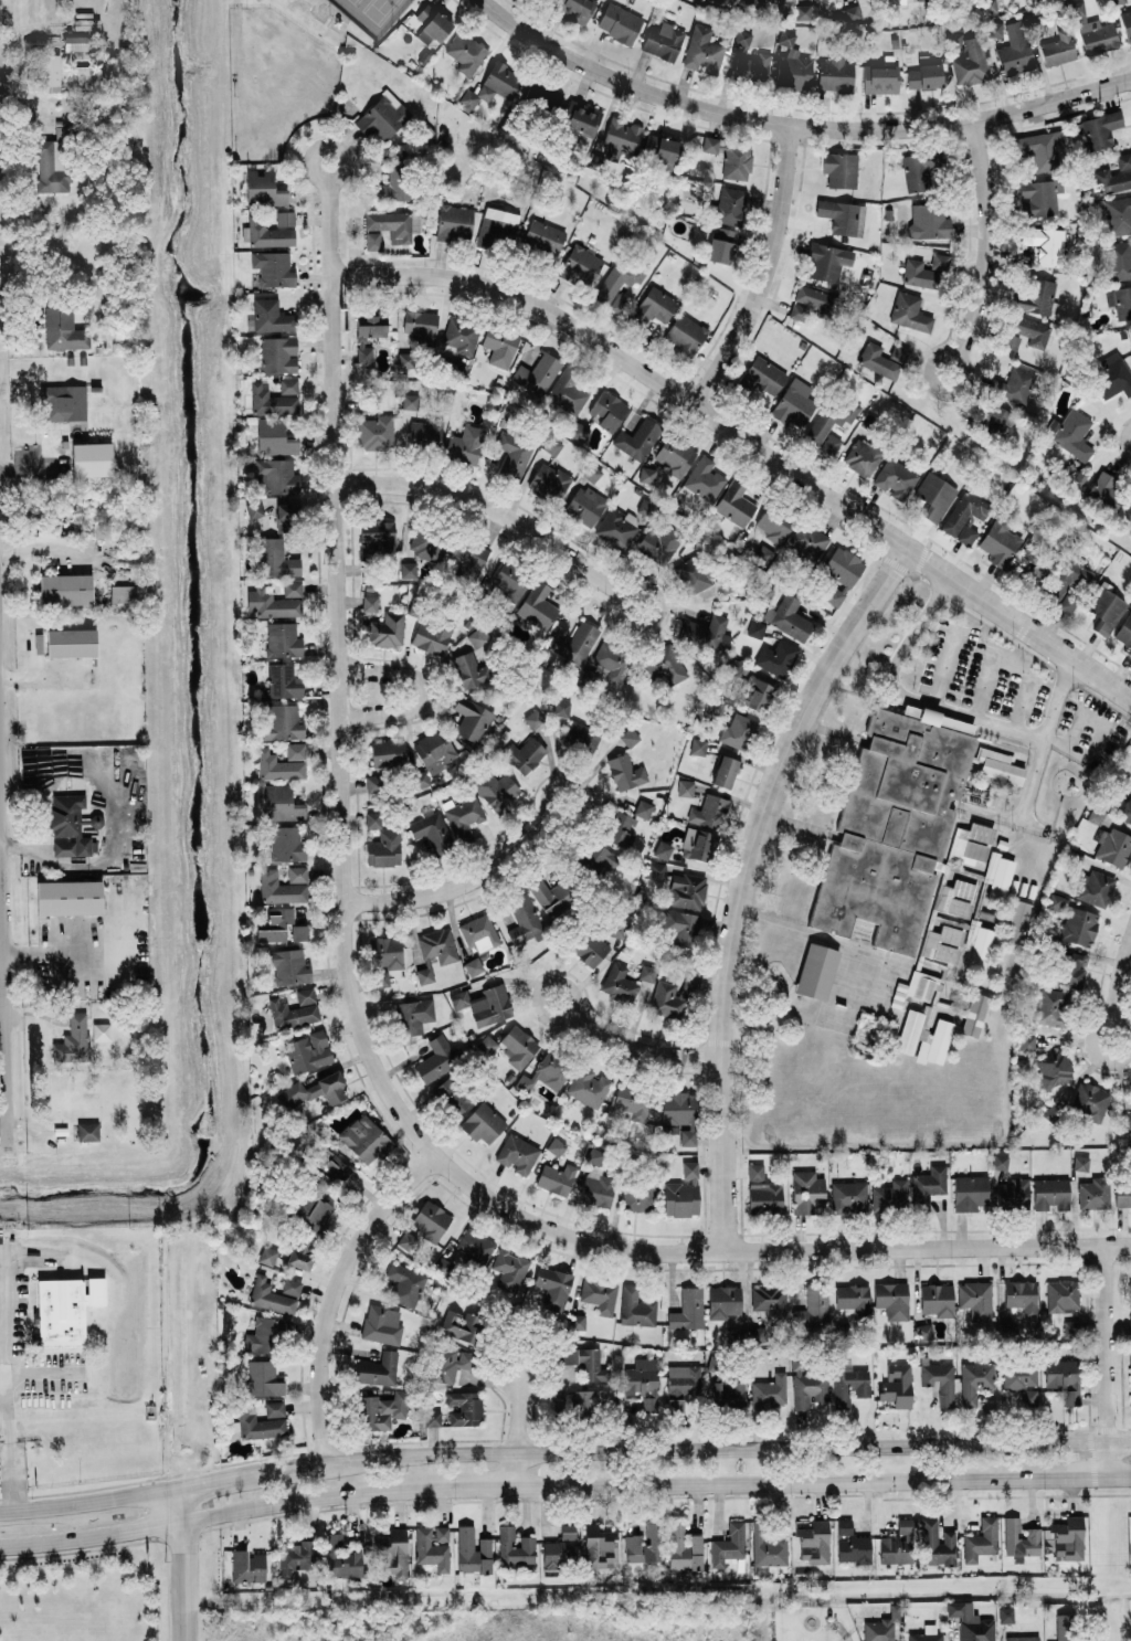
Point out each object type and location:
building: (1032, 0)
building: (1117, 0)
building: (755, 4)
building: (987, 4)
building: (573, 9)
building: (802, 10)
park: (371, 13)
building: (854, 15)
building: (1033, 21)
building: (617, 22)
building: (1125, 23)
building: (431, 24)
building: (265, 25)
building: (741, 36)
building: (1097, 36)
building: (660, 41)
building: (73, 42)
building: (1056, 49)
building: (700, 51)
building: (465, 52)
building: (1013, 57)
building: (123, 59)
building: (267, 59)
building: (970, 63)
building: (750, 67)
building: (47, 70)
road: (239, 70)
building: (792, 72)
building: (834, 75)
building: (921, 75)
building: (501, 78)
building: (878, 80)
building: (541, 100)
building: (381, 116)
building: (579, 118)
road: (796, 126)
building: (1097, 130)
building: (621, 136)
building: (1037, 149)
building: (659, 151)
building: (734, 161)
building: (47, 167)
building: (919, 168)
building: (838, 169)
road: (317, 174)
building: (1112, 177)
building: (394, 182)
building: (263, 188)
building: (1038, 198)
building: (726, 205)
building: (1118, 214)
building: (841, 216)
building: (928, 221)
building: (453, 222)
building: (387, 226)
building: (497, 226)
building: (269, 229)
building: (542, 237)
building: (719, 245)
building: (1046, 245)
road: (986, 246)
building: (1118, 260)
building: (581, 262)
building: (823, 263)
building: (272, 268)
building: (926, 269)
road: (763, 273)
building: (621, 279)
building: (1033, 295)
building: (1119, 300)
building: (810, 301)
building: (651, 307)
building: (908, 311)
building: (269, 316)
building: (417, 322)
building: (61, 329)
building: (366, 331)
building: (459, 331)
building: (1023, 332)
building: (681, 335)
building: (498, 342)
building: (276, 353)
building: (405, 359)
building: (881, 359)
building: (536, 373)
building: (1109, 375)
building: (761, 377)
building: (1012, 382)
building: (565, 391)
building: (273, 396)
building: (409, 400)
building: (52, 402)
building: (364, 402)
building: (792, 406)
building: (605, 410)
building: (992, 421)
building: (831, 422)
building: (579, 430)
building: (373, 432)
building: (1070, 433)
building: (423, 434)
building: (272, 436)
building: (636, 438)
road: (746, 440)
road: (1129, 441)
building: (464, 444)
building: (551, 444)
building: (673, 454)
building: (511, 455)
building: (860, 456)
building: (91, 458)
building: (590, 468)
building: (646, 473)
building: (275, 475)
building: (894, 478)
building: (702, 479)
building: (547, 481)
building: (1106, 489)
building: (933, 495)
building: (733, 502)
building: (583, 505)
road: (488, 506)
building: (253, 507)
building: (286, 517)
building: (964, 517)
building: (773, 525)
building: (615, 526)
building: (377, 536)
building: (998, 540)
building: (425, 542)
building: (659, 542)
building: (805, 542)
building: (763, 550)
building: (467, 555)
building: (275, 557)
building: (408, 569)
building: (838, 572)
building: (701, 573)
building: (508, 581)
building: (1063, 583)
road: (633, 584)
building: (64, 587)
building: (290, 587)
building: (123, 592)
building: (269, 602)
building: (369, 602)
building: (1104, 610)
building: (786, 616)
building: (753, 627)
building: (385, 628)
building: (1124, 631)
building: (706, 632)
building: (432, 634)
building: (477, 635)
building: (282, 638)
building: (38, 642)
building: (71, 642)
building: (574, 642)
building: (776, 656)
road: (945, 664)
building: (609, 665)
building: (665, 666)
building: (471, 668)
road: (0, 673)
building: (284, 679)
road: (337, 679)
road: (984, 681)
road: (421, 691)
building: (757, 694)
road: (905, 695)
road: (1023, 703)
building: (561, 706)
building: (471, 718)
building: (533, 718)
building: (282, 721)
building: (738, 730)
building: (578, 735)
building: (628, 735)
road: (1043, 740)
building: (697, 744)
building: (294, 750)
building: (387, 752)
road: (1076, 752)
building: (430, 753)
building: (522, 753)
building: (997, 764)
building: (277, 765)
building: (725, 770)
building: (625, 771)
building: (373, 782)
building: (685, 786)
road: (1, 788)
building: (495, 788)
building: (281, 802)
road: (547, 803)
building: (372, 806)
building: (642, 807)
building: (1127, 809)
building: (709, 811)
building: (462, 815)
road: (1000, 817)
building: (372, 818)
building: (68, 825)
building: (431, 828)
building: (619, 828)
building: (890, 830)
building: (976, 839)
building: (284, 841)
building: (698, 843)
building: (1112, 845)
building: (383, 848)
building: (662, 848)
building: (600, 858)
building: (657, 869)
building: (296, 872)
building: (998, 875)
road: (742, 880)
road: (458, 885)
road: (4, 886)
building: (279, 887)
building: (1095, 887)
building: (686, 889)
building: (68, 896)
building: (553, 896)
building: (522, 918)
building: (1017, 920)
building: (275, 923)
building: (681, 925)
building: (617, 927)
building: (298, 931)
building: (478, 931)
building: (436, 943)
building: (944, 943)
building: (590, 947)
building: (980, 947)
road: (51, 950)
building: (384, 956)
building: (287, 965)
building: (473, 965)
building: (1069, 968)
building: (815, 970)
building: (424, 972)
building: (645, 972)
road: (1119, 977)
building: (690, 981)
building: (619, 982)
building: (921, 984)
building: (666, 998)
road: (573, 1001)
building: (484, 1003)
building: (1053, 1006)
building: (294, 1007)
building: (974, 1013)
building: (413, 1014)
building: (909, 1029)
building: (101, 1030)
building: (73, 1038)
road: (1090, 1038)
building: (1026, 1040)
building: (934, 1041)
building: (517, 1045)
road: (642, 1048)
building: (307, 1050)
building: (436, 1057)
building: (1053, 1067)
building: (545, 1072)
building: (588, 1084)
building: (314, 1089)
building: (451, 1094)
building: (1089, 1100)
building: (632, 1102)
building: (680, 1112)
building: (1050, 1112)
building: (1124, 1121)
building: (482, 1122)
building: (86, 1130)
building: (364, 1137)
building: (554, 1142)
building: (516, 1153)
building: (1000, 1161)
building: (1080, 1162)
building: (332, 1165)
building: (556, 1176)
building: (927, 1186)
building: (595, 1189)
building: (762, 1190)
building: (806, 1190)
building: (969, 1190)
building: (680, 1192)
building: (1050, 1192)
building: (1093, 1192)
building: (1013, 1193)
building: (889, 1194)
building: (641, 1195)
building: (1122, 1195)
building: (848, 1196)
building: (315, 1214)
building: (430, 1218)
building: (406, 1240)
road: (770, 1250)
building: (299, 1251)
building: (266, 1253)
building: (494, 1258)
building: (442, 1264)
building: (403, 1283)
building: (290, 1285)
building: (553, 1285)
road: (334, 1293)
building: (268, 1294)
building: (599, 1294)
building: (1021, 1294)
building: (1060, 1294)
building: (891, 1298)
building: (937, 1298)
building: (975, 1298)
building: (852, 1299)
building: (723, 1300)
building: (769, 1300)
building: (1130, 1302)
building: (65, 1306)
building: (635, 1306)
building: (812, 1306)
building: (687, 1307)
building: (575, 1320)
helipad: (7, 1321)
building: (381, 1323)
building: (461, 1324)
building: (1070, 1327)
building: (922, 1330)
building: (737, 1332)
building: (264, 1333)
building: (569, 1355)
road: (1104, 1358)
building: (446, 1362)
building: (591, 1364)
building: (377, 1367)
building: (262, 1376)
building: (1063, 1377)
building: (974, 1378)
building: (1130, 1379)
building: (643, 1380)
building: (850, 1380)
building: (939, 1380)
building: (1019, 1383)
building: (681, 1384)
building: (897, 1384)
building: (806, 1385)
building: (769, 1390)
building: (728, 1393)
building: (583, 1399)
building: (274, 1407)
building: (463, 1407)
building: (383, 1408)
building: (432, 1417)
building: (258, 1423)
road: (518, 1425)
road: (719, 1447)
road: (9, 1448)
road: (1118, 1475)
road: (243, 1476)
road: (1056, 1476)
road: (761, 1480)
road: (462, 1484)
road: (88, 1500)
road: (294, 1501)
road: (179, 1504)
building: (1066, 1536)
road: (89, 1537)
building: (1019, 1537)
building: (980, 1538)
building: (813, 1539)
building: (934, 1542)
building: (644, 1543)
building: (728, 1543)
building: (850, 1543)
building: (897, 1543)
building: (432, 1545)
building: (596, 1545)
building: (767, 1545)
building: (514, 1546)
building: (560, 1546)
building: (683, 1547)
building: (472, 1549)
building: (392, 1550)
building: (295, 1556)
building: (340, 1556)
building: (247, 1565)
road: (181, 1580)
building: (1005, 1613)
building: (970, 1621)
building: (880, 1626)
building: (1065, 1627)
building: (926, 1633)
building: (1021, 1638)

